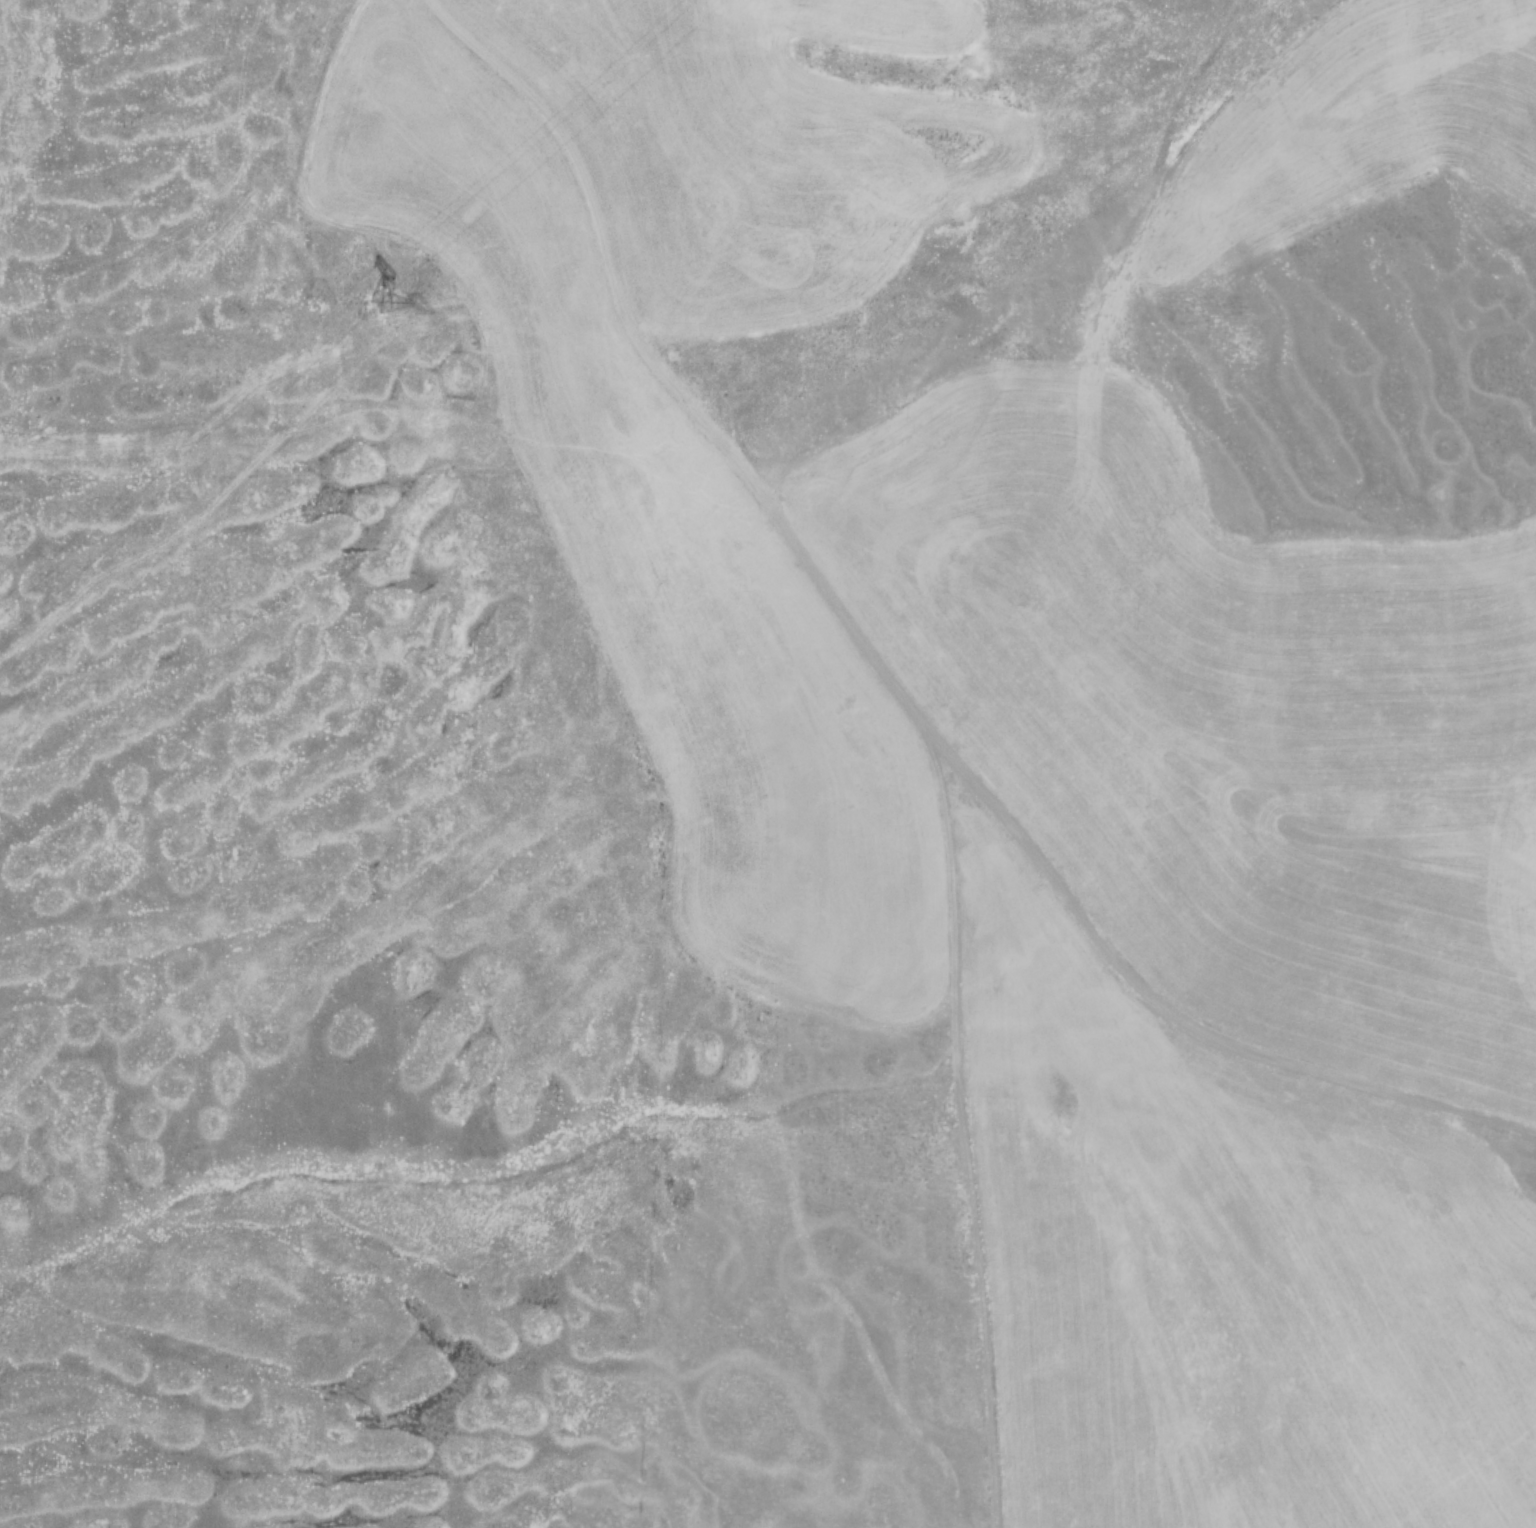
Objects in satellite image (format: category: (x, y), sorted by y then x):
power tower: (380, 301)

